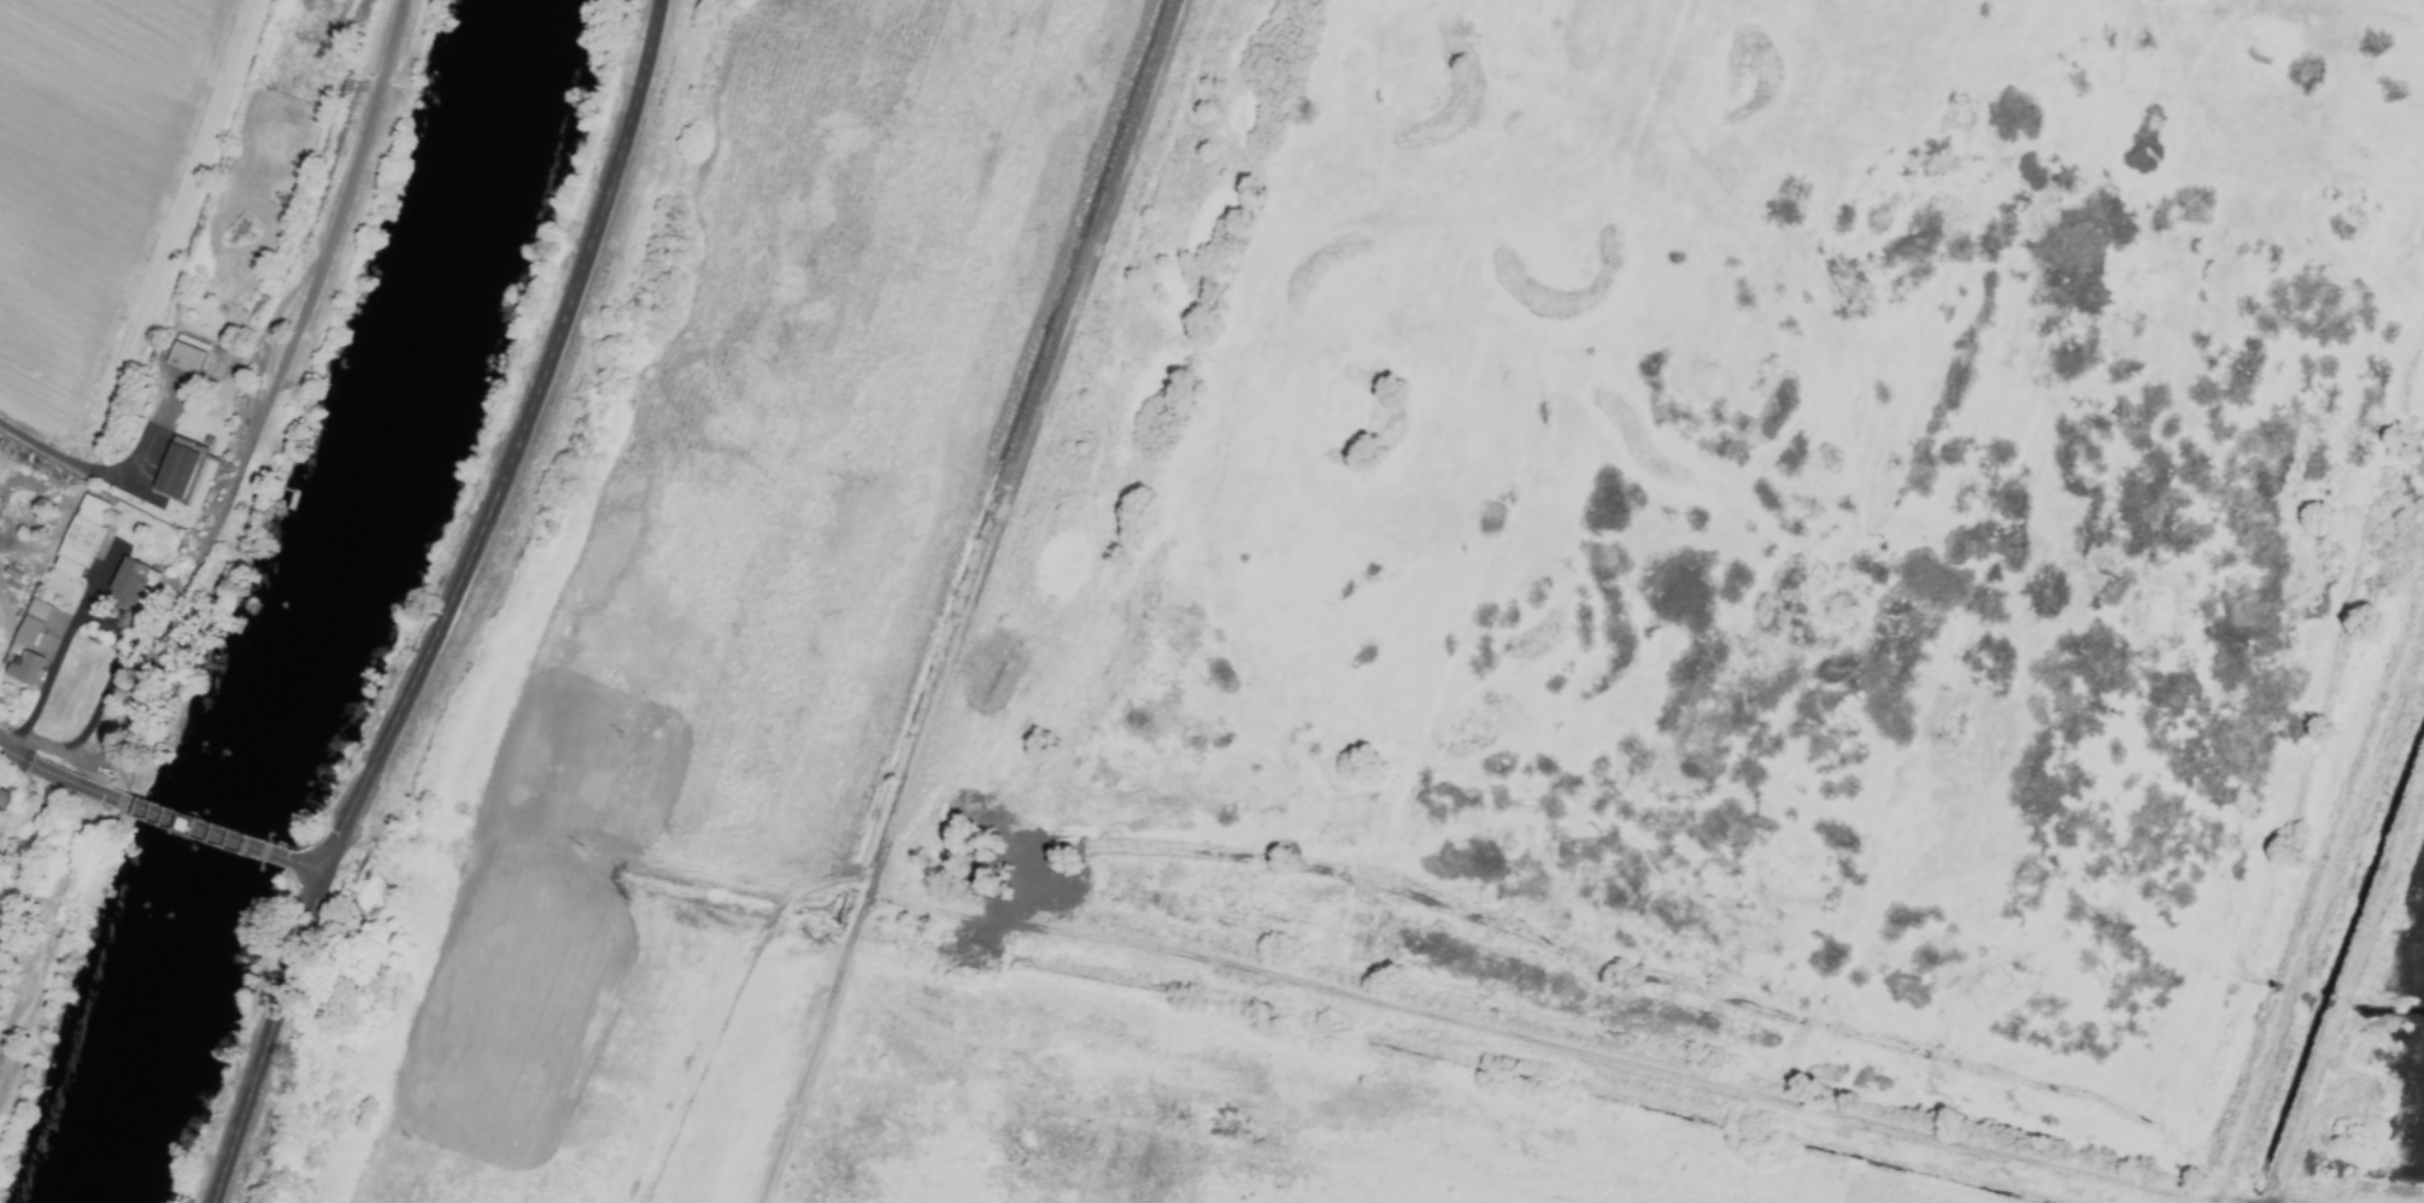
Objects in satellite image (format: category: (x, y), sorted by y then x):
crop: (106, 192)
building: (186, 354)
road: (251, 434)
road: (515, 445)
road: (46, 448)
building: (177, 471)
building: (81, 536)
road: (99, 580)
crop: (693, 615)
road: (92, 617)
building: (30, 624)
building: (24, 670)
road: (59, 780)
road: (206, 833)
road: (309, 868)
crop: (19, 981)
road: (268, 1038)
crop: (2324, 1201)

